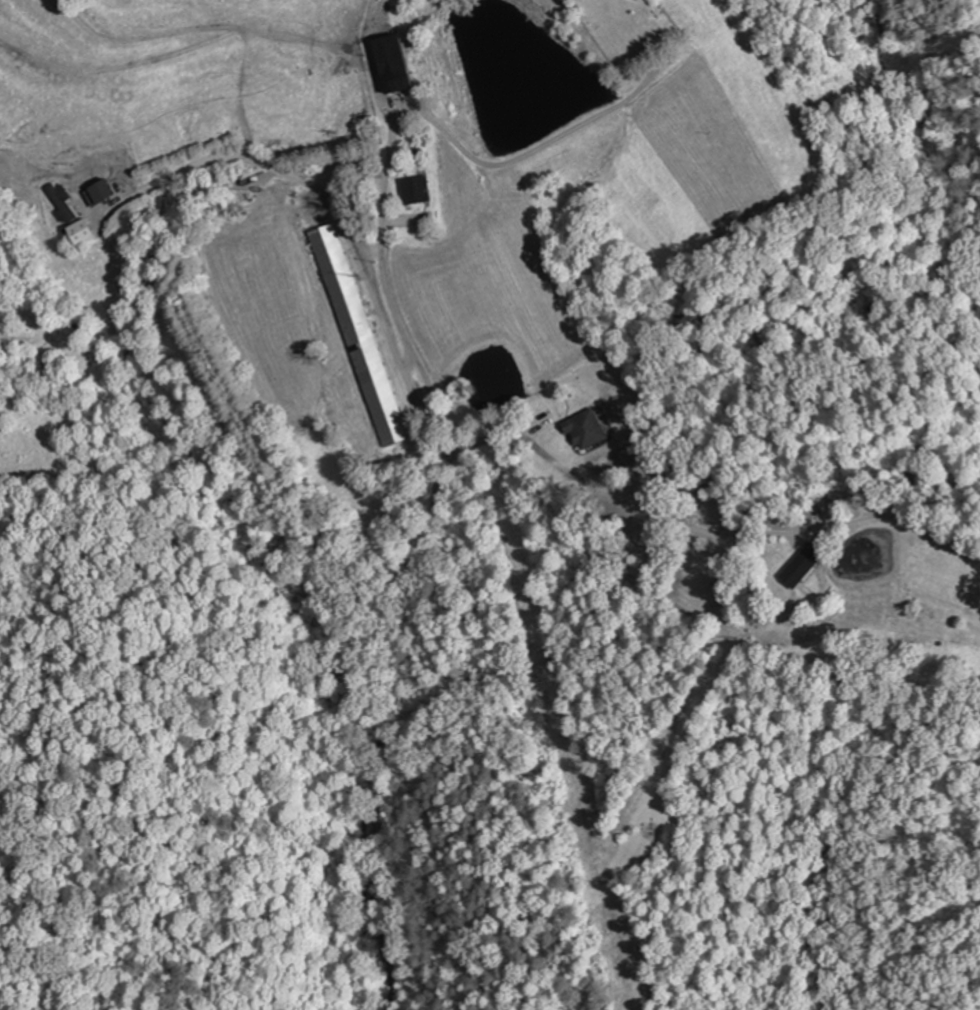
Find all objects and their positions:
park: (629, 29)
building: (395, 62)
building: (417, 189)
building: (74, 217)
building: (360, 334)
building: (587, 429)
road: (703, 523)
building: (803, 565)
road: (392, 592)

